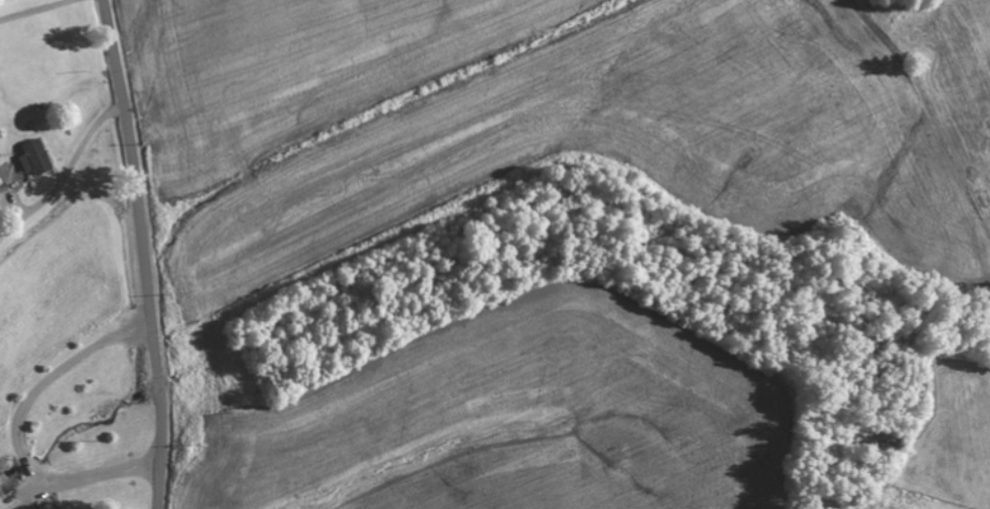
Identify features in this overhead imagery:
building: (34, 156)
road: (67, 180)
road: (144, 253)
building: (44, 506)
building: (57, 508)

